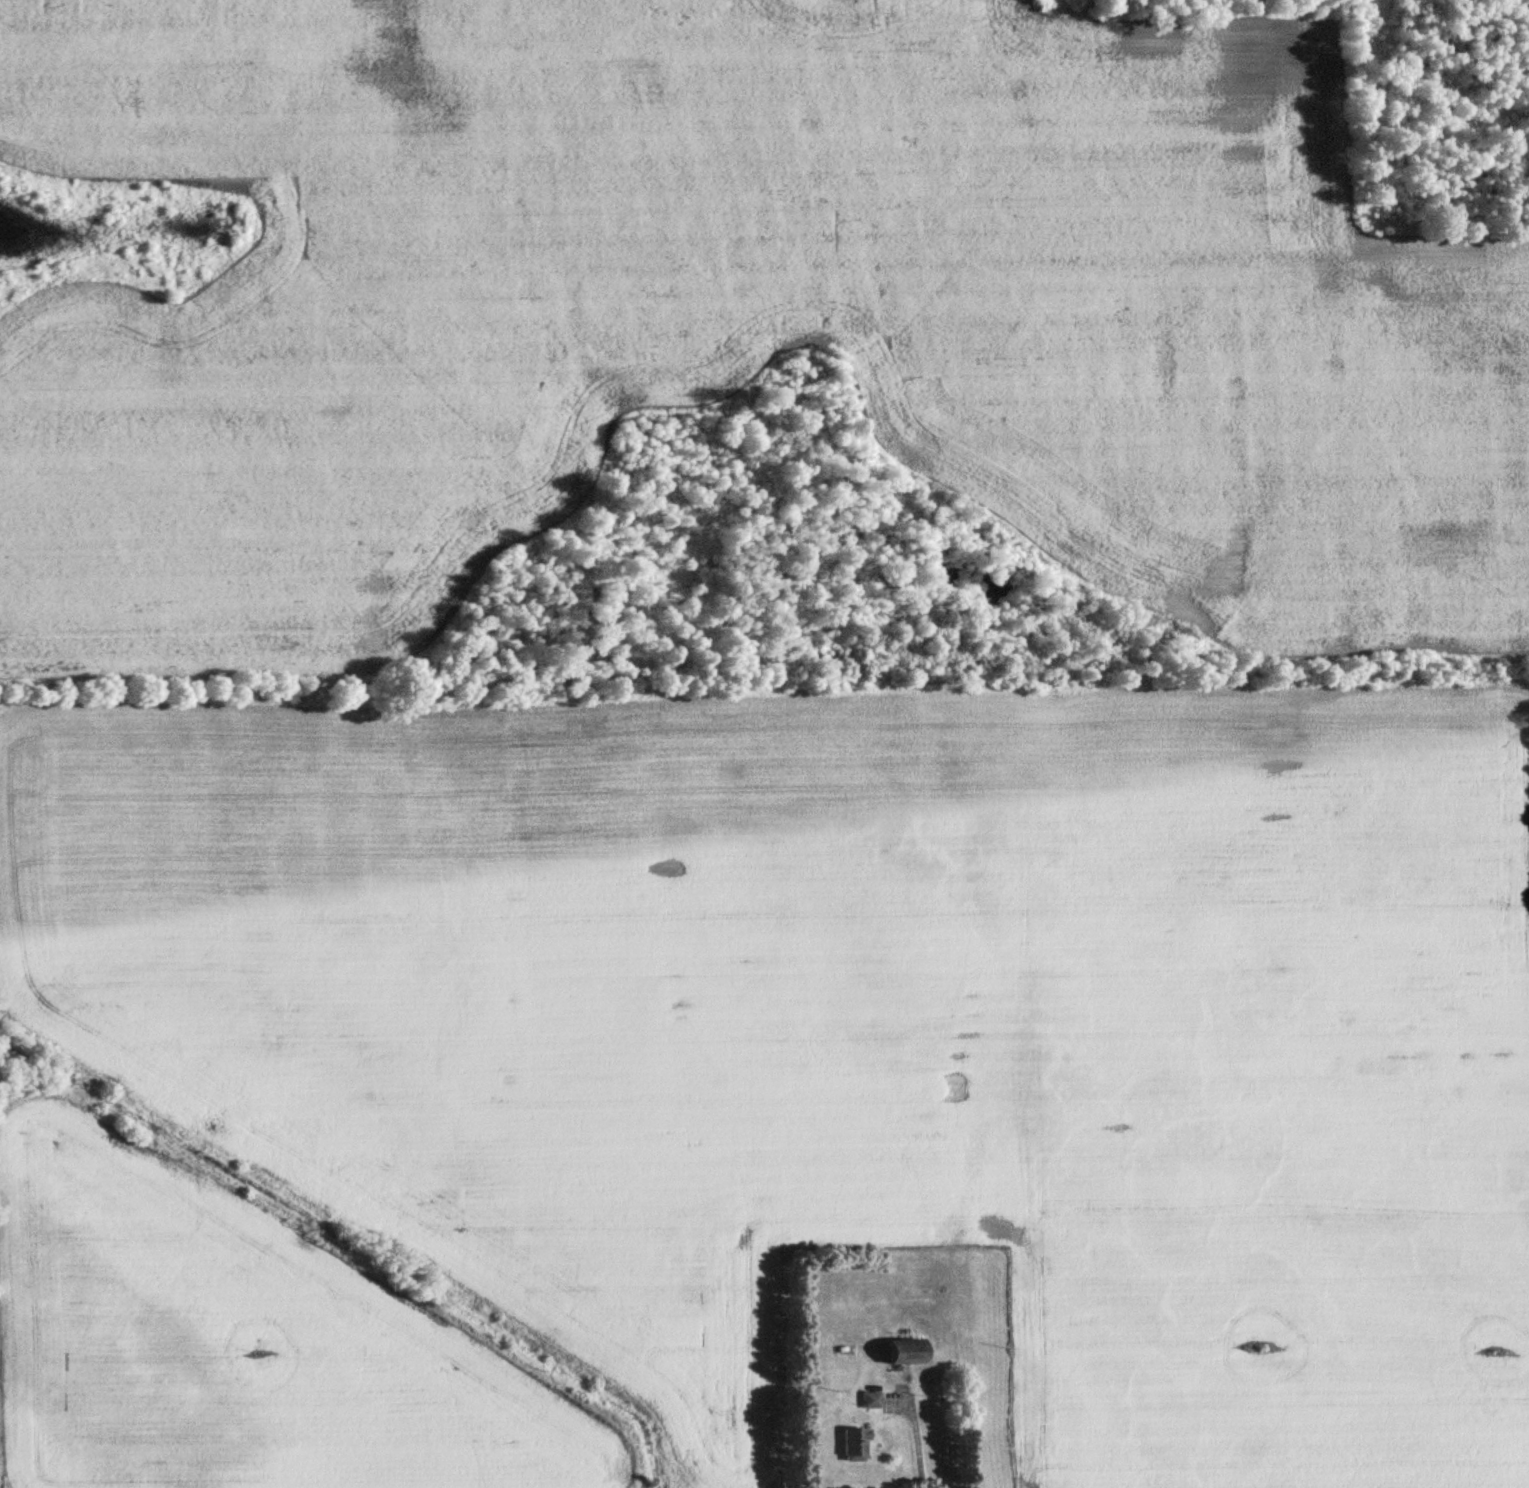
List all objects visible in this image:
building: (910, 1351)
building: (871, 1400)
building: (856, 1444)

